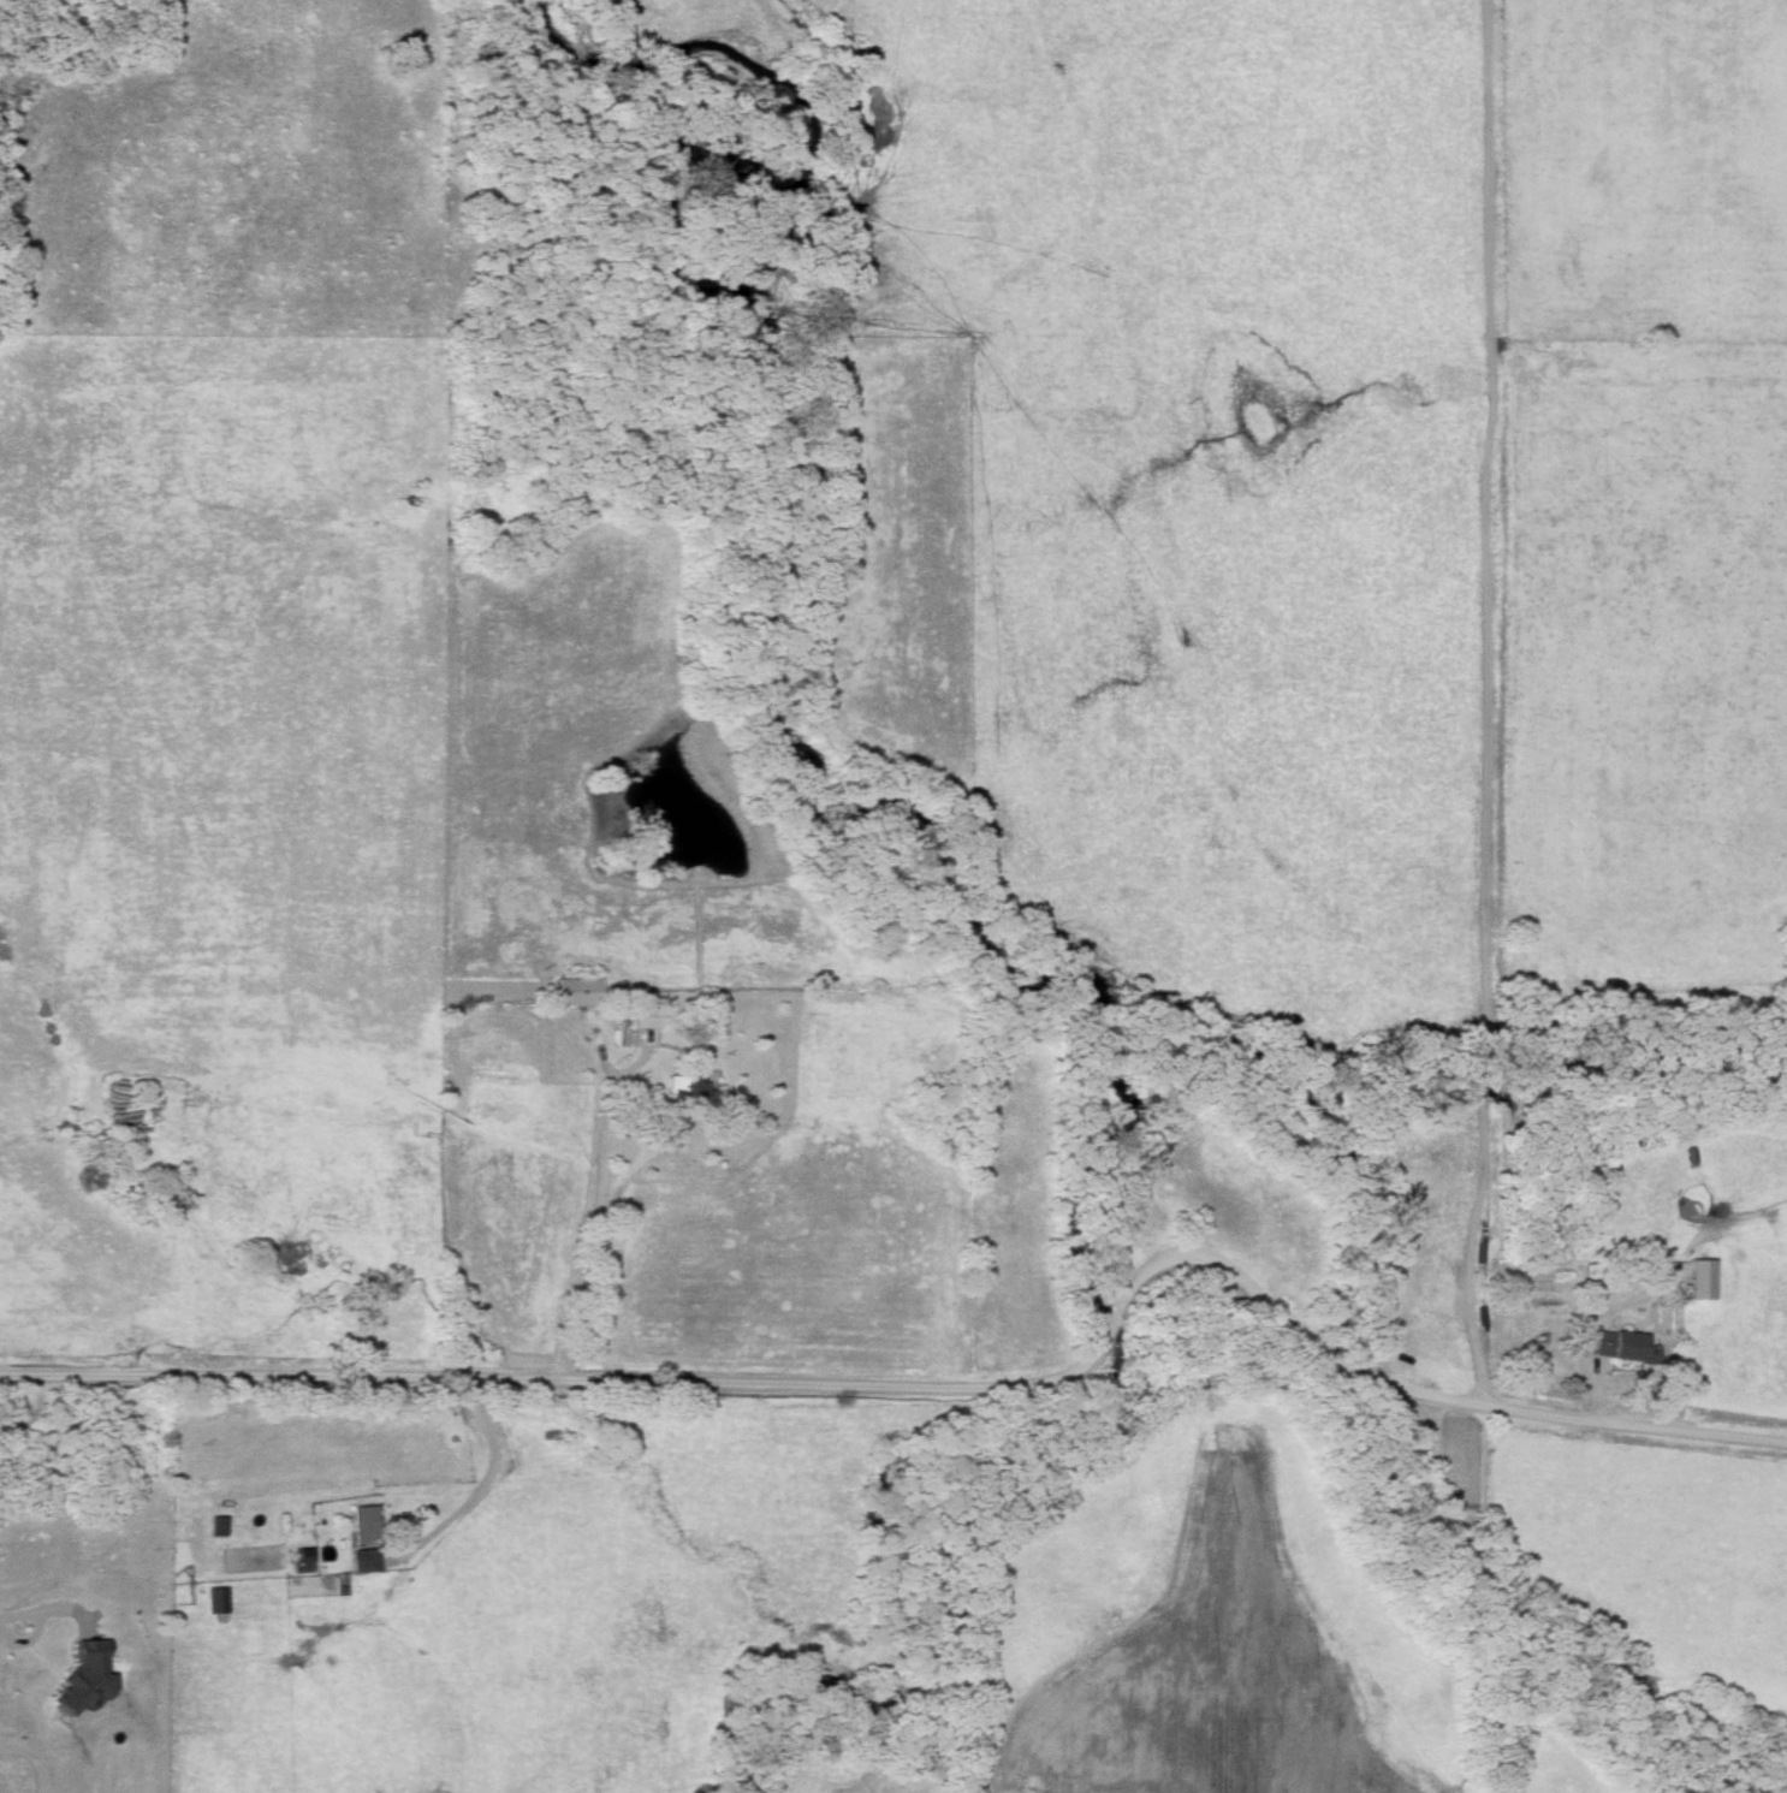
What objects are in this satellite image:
road: (1485, 705)
building: (577, 993)
building: (648, 1020)
building: (685, 1088)
road: (596, 1212)
building: (1700, 1280)
building: (1623, 1347)
road: (944, 1391)
road: (25, 1411)
road: (479, 1484)
building: (366, 1524)
building: (220, 1527)
building: (368, 1562)
building: (219, 1605)
road: (10, 1626)

